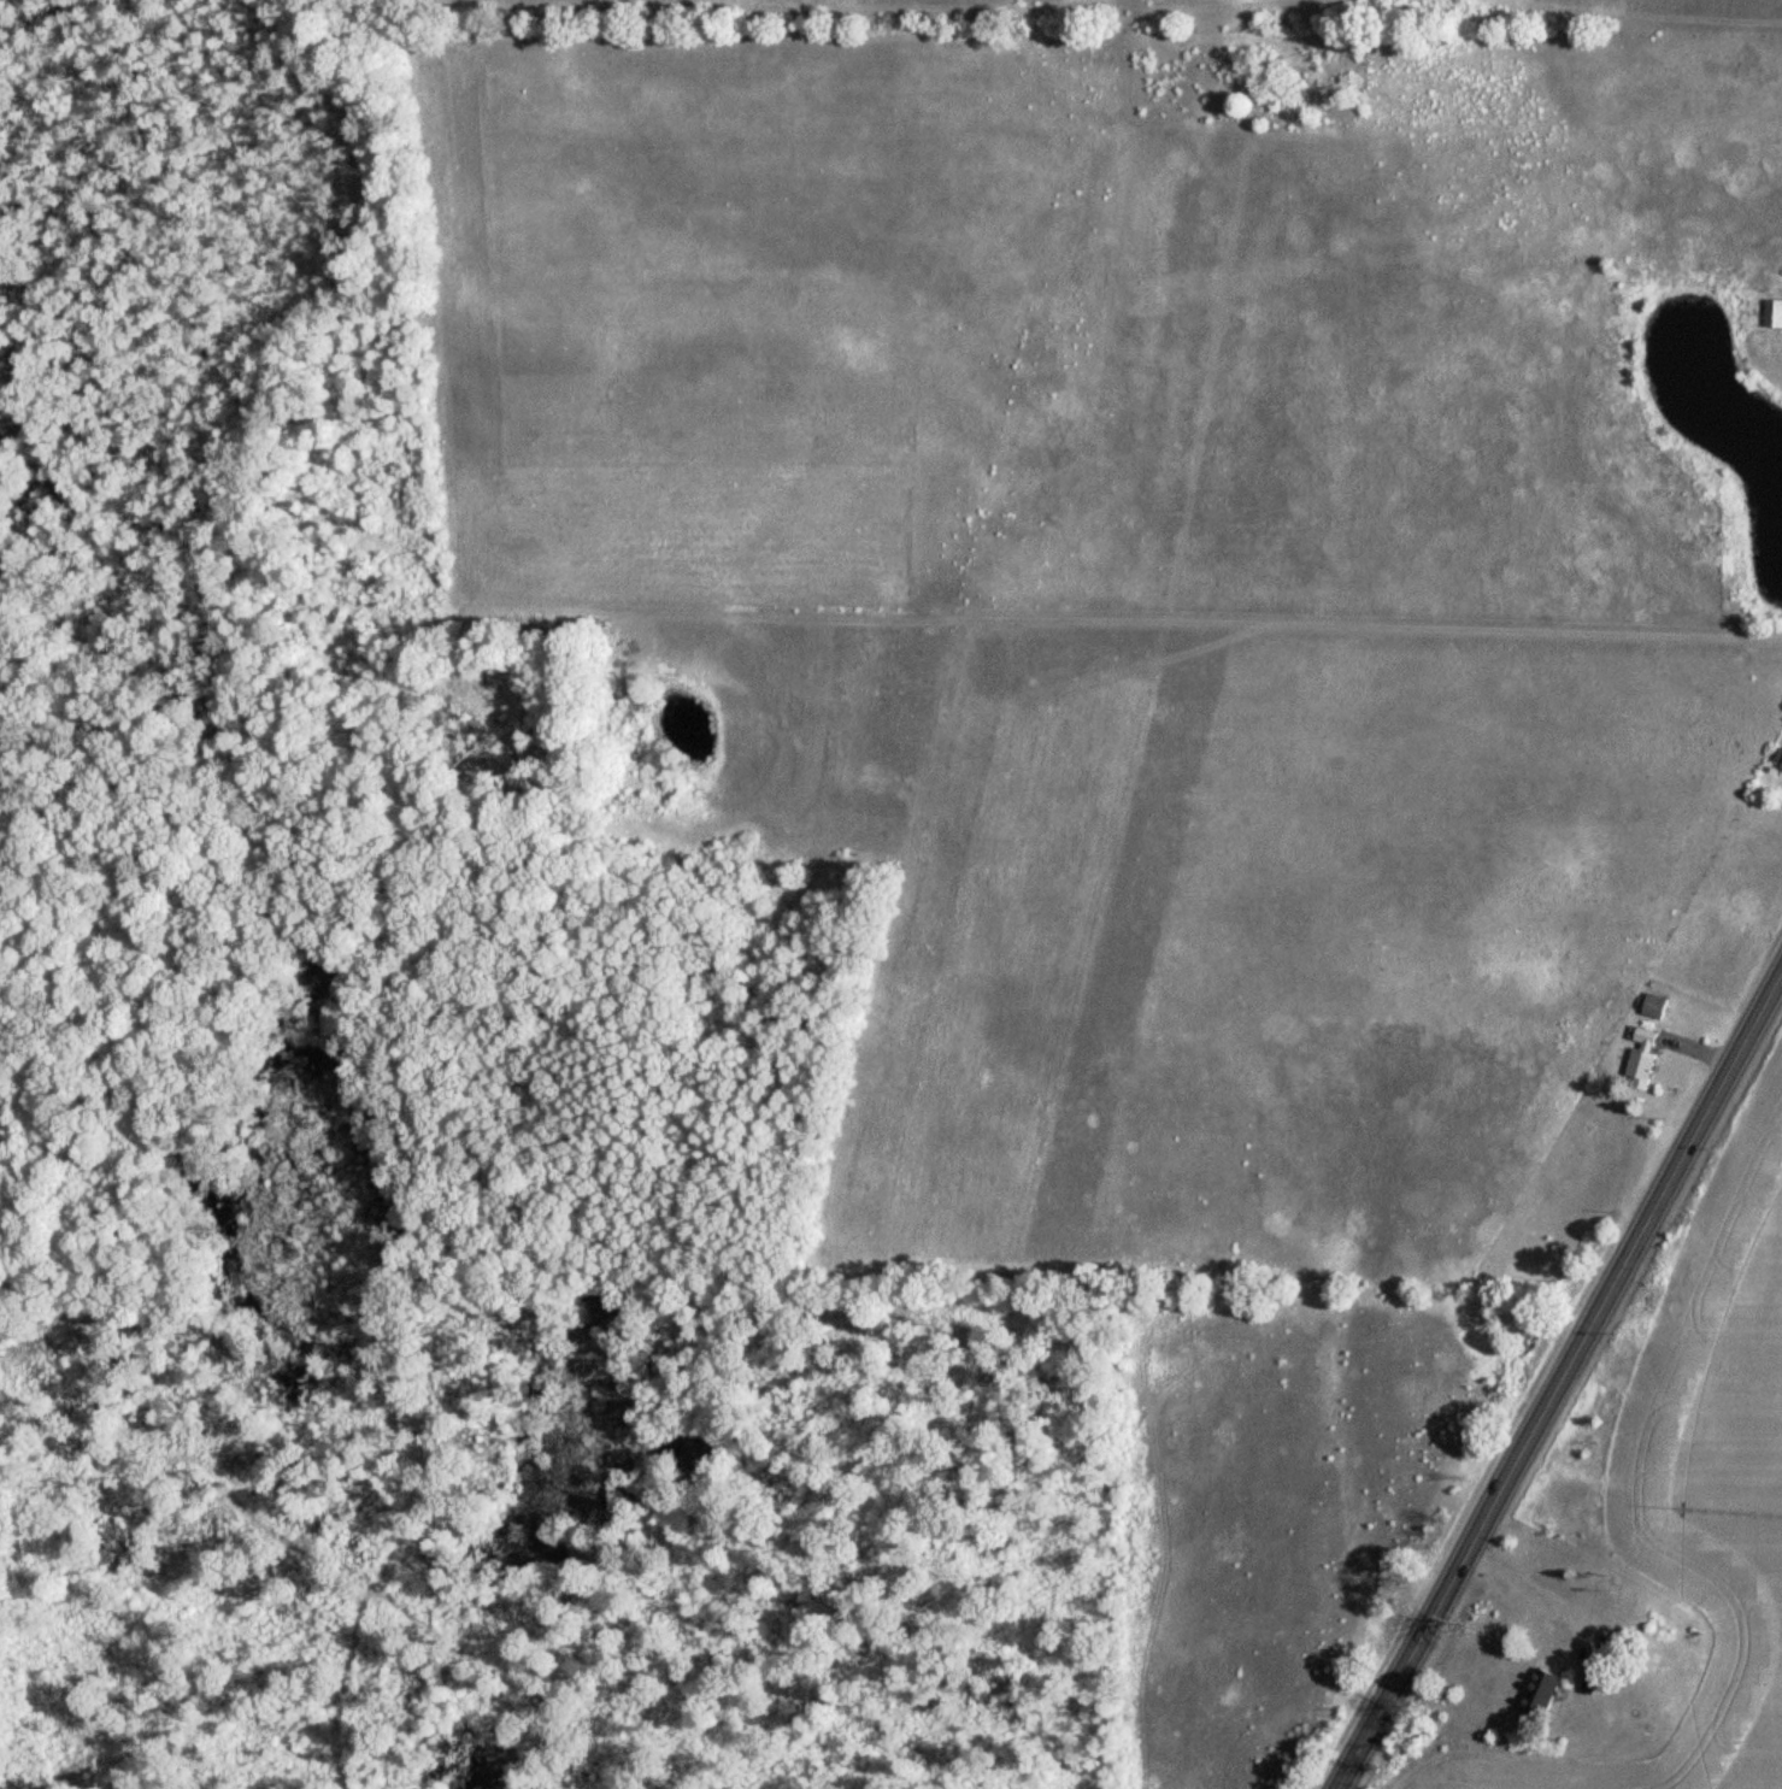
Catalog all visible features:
building: (1774, 316)
building: (1657, 1008)
building: (1643, 1059)
road: (1559, 1385)
road: (1533, 1590)
building: (1590, 1684)
building: (1542, 1696)

